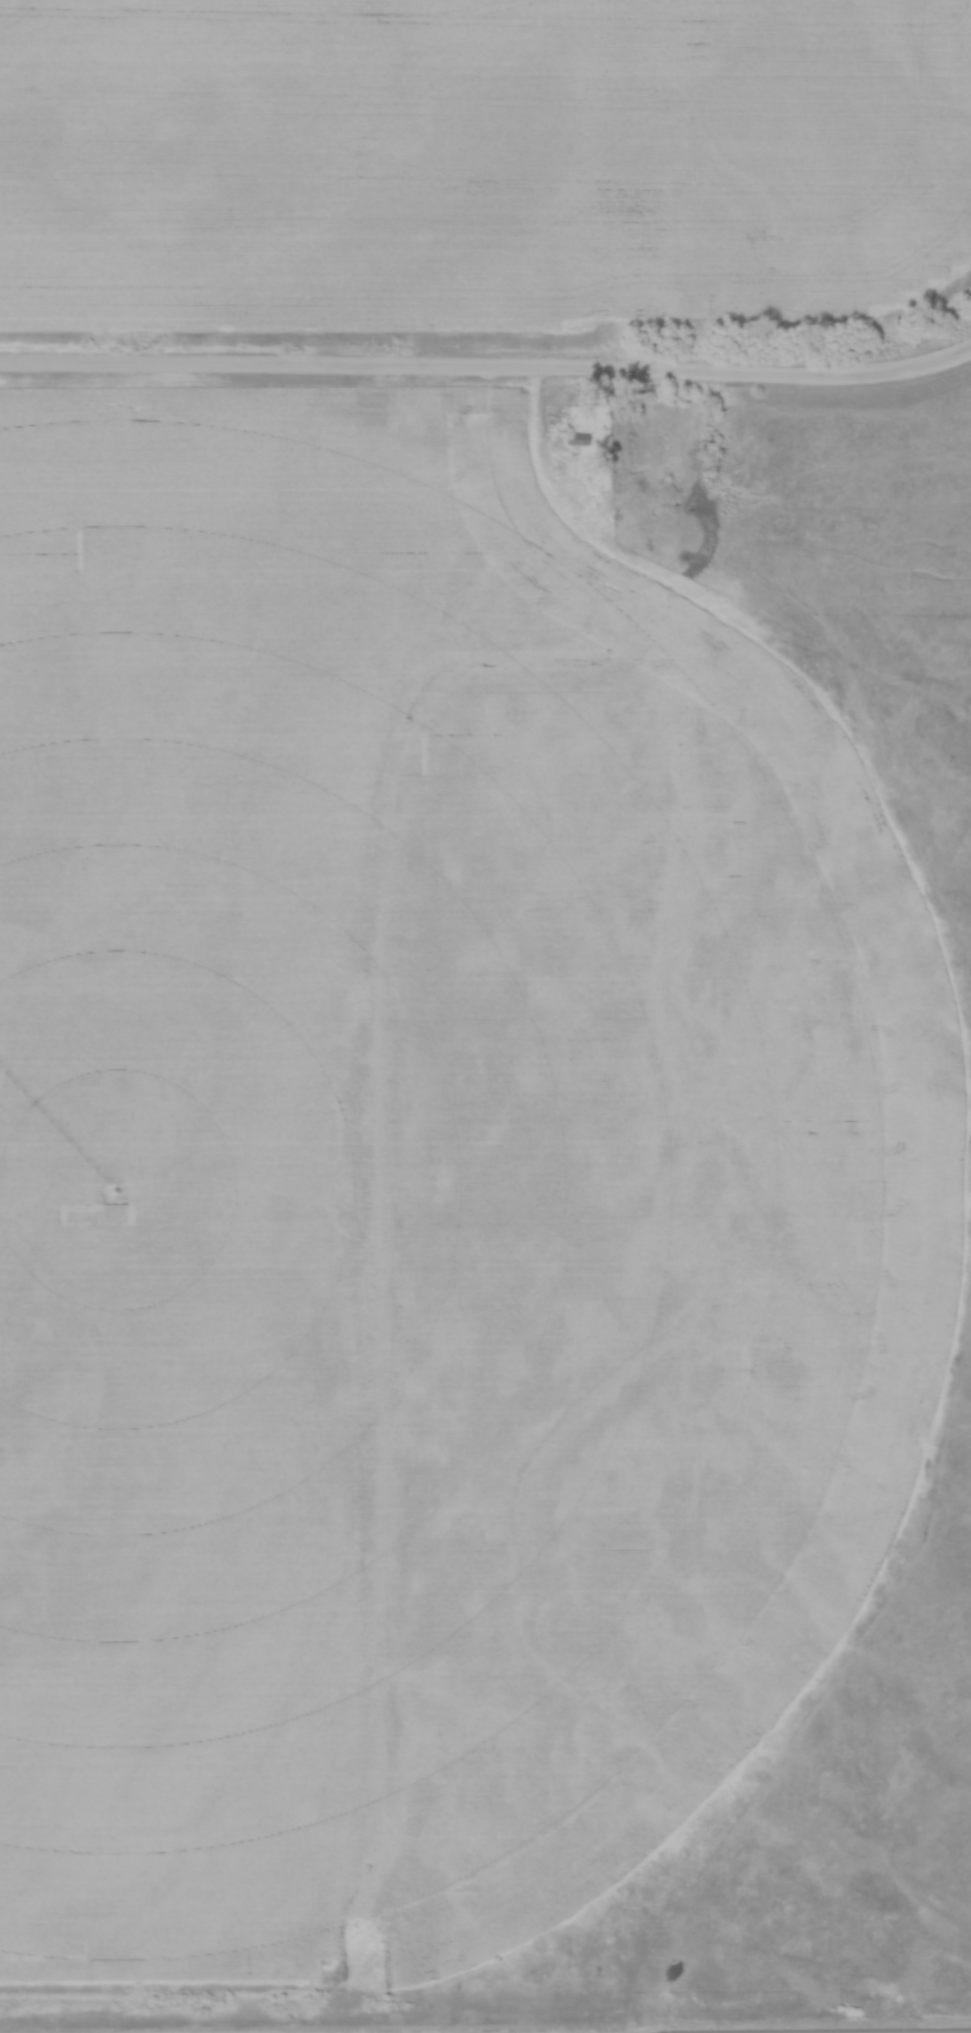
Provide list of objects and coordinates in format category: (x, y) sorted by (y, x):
road: (486, 367)
building: (578, 439)

